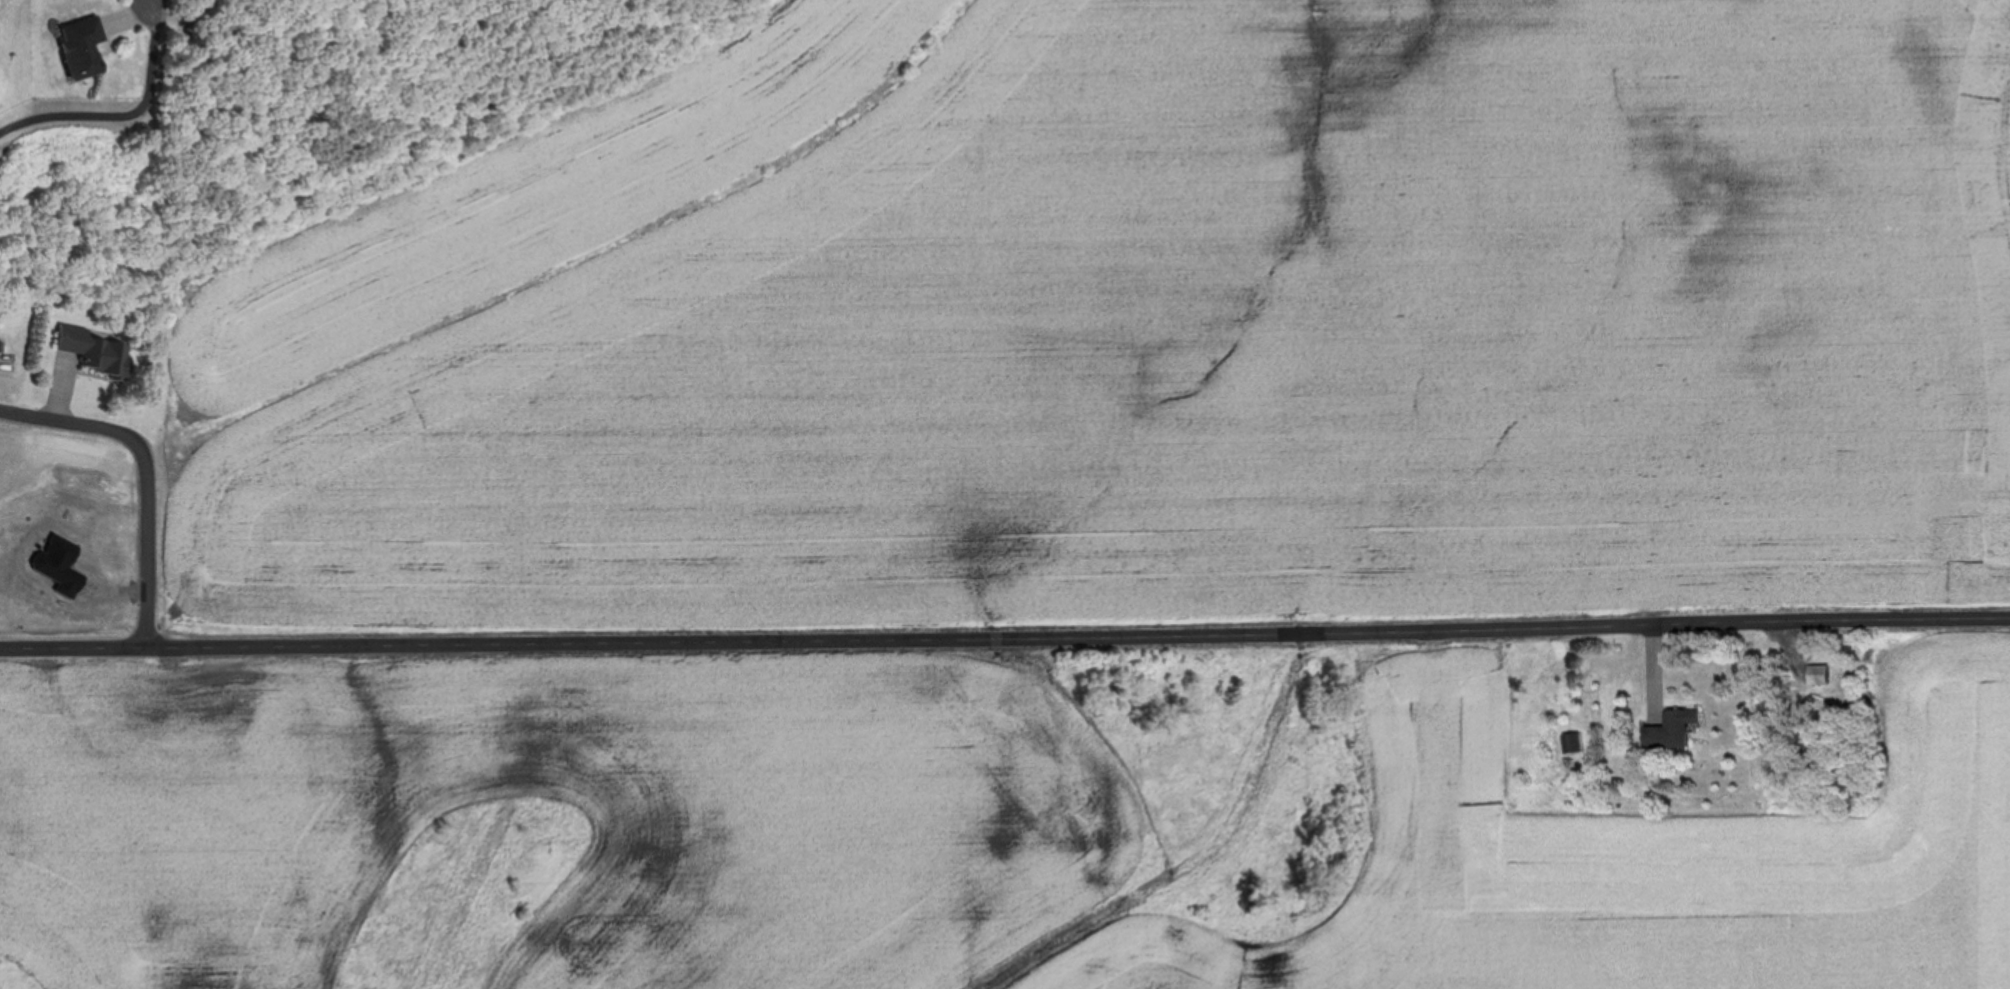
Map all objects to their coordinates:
building: (85, 47)
park: (23, 97)
building: (98, 350)
road: (148, 471)
road: (1005, 639)
building: (1827, 673)
building: (1679, 730)
building: (1578, 741)

